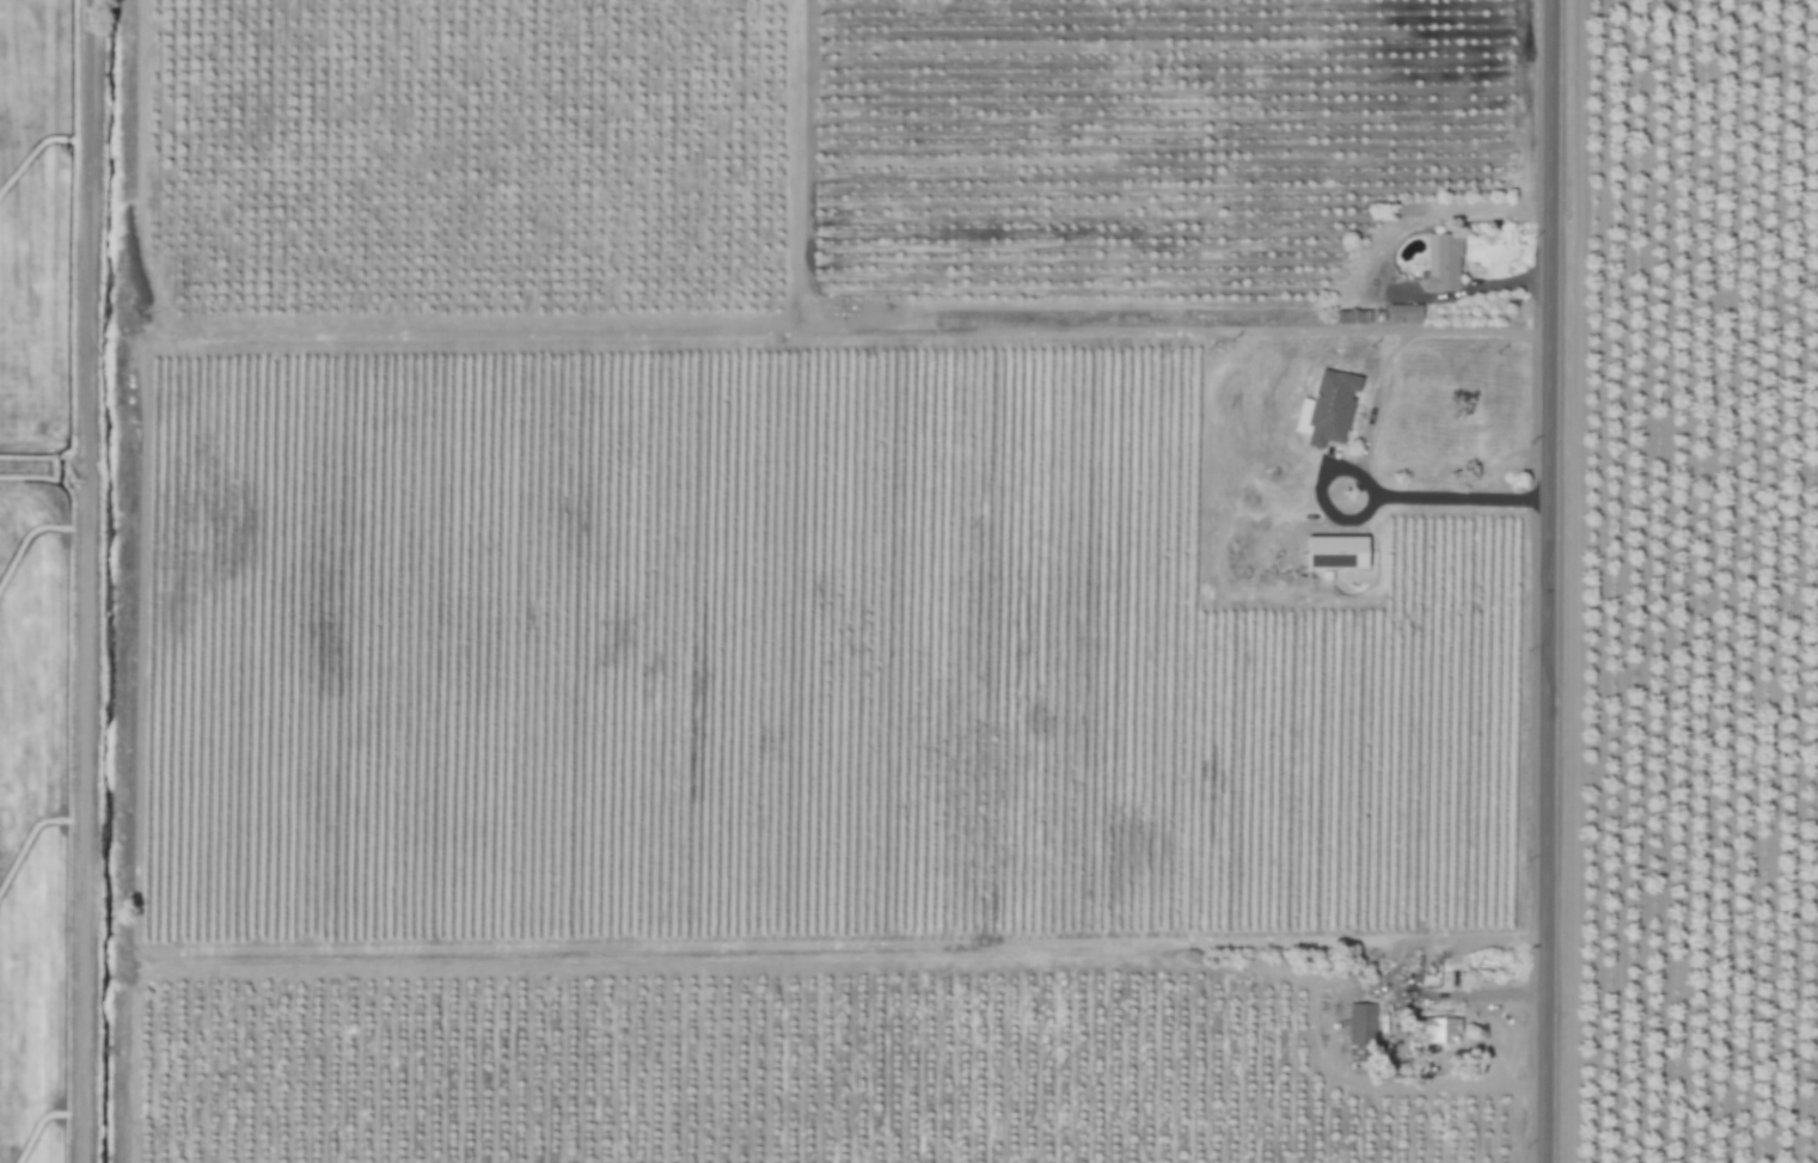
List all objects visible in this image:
building: (1444, 263)
building: (1404, 314)
building: (1354, 317)
road: (943, 324)
building: (1329, 408)
road: (1371, 427)
building: (1338, 552)
road: (1544, 581)
building: (1363, 1024)
building: (1444, 1030)

